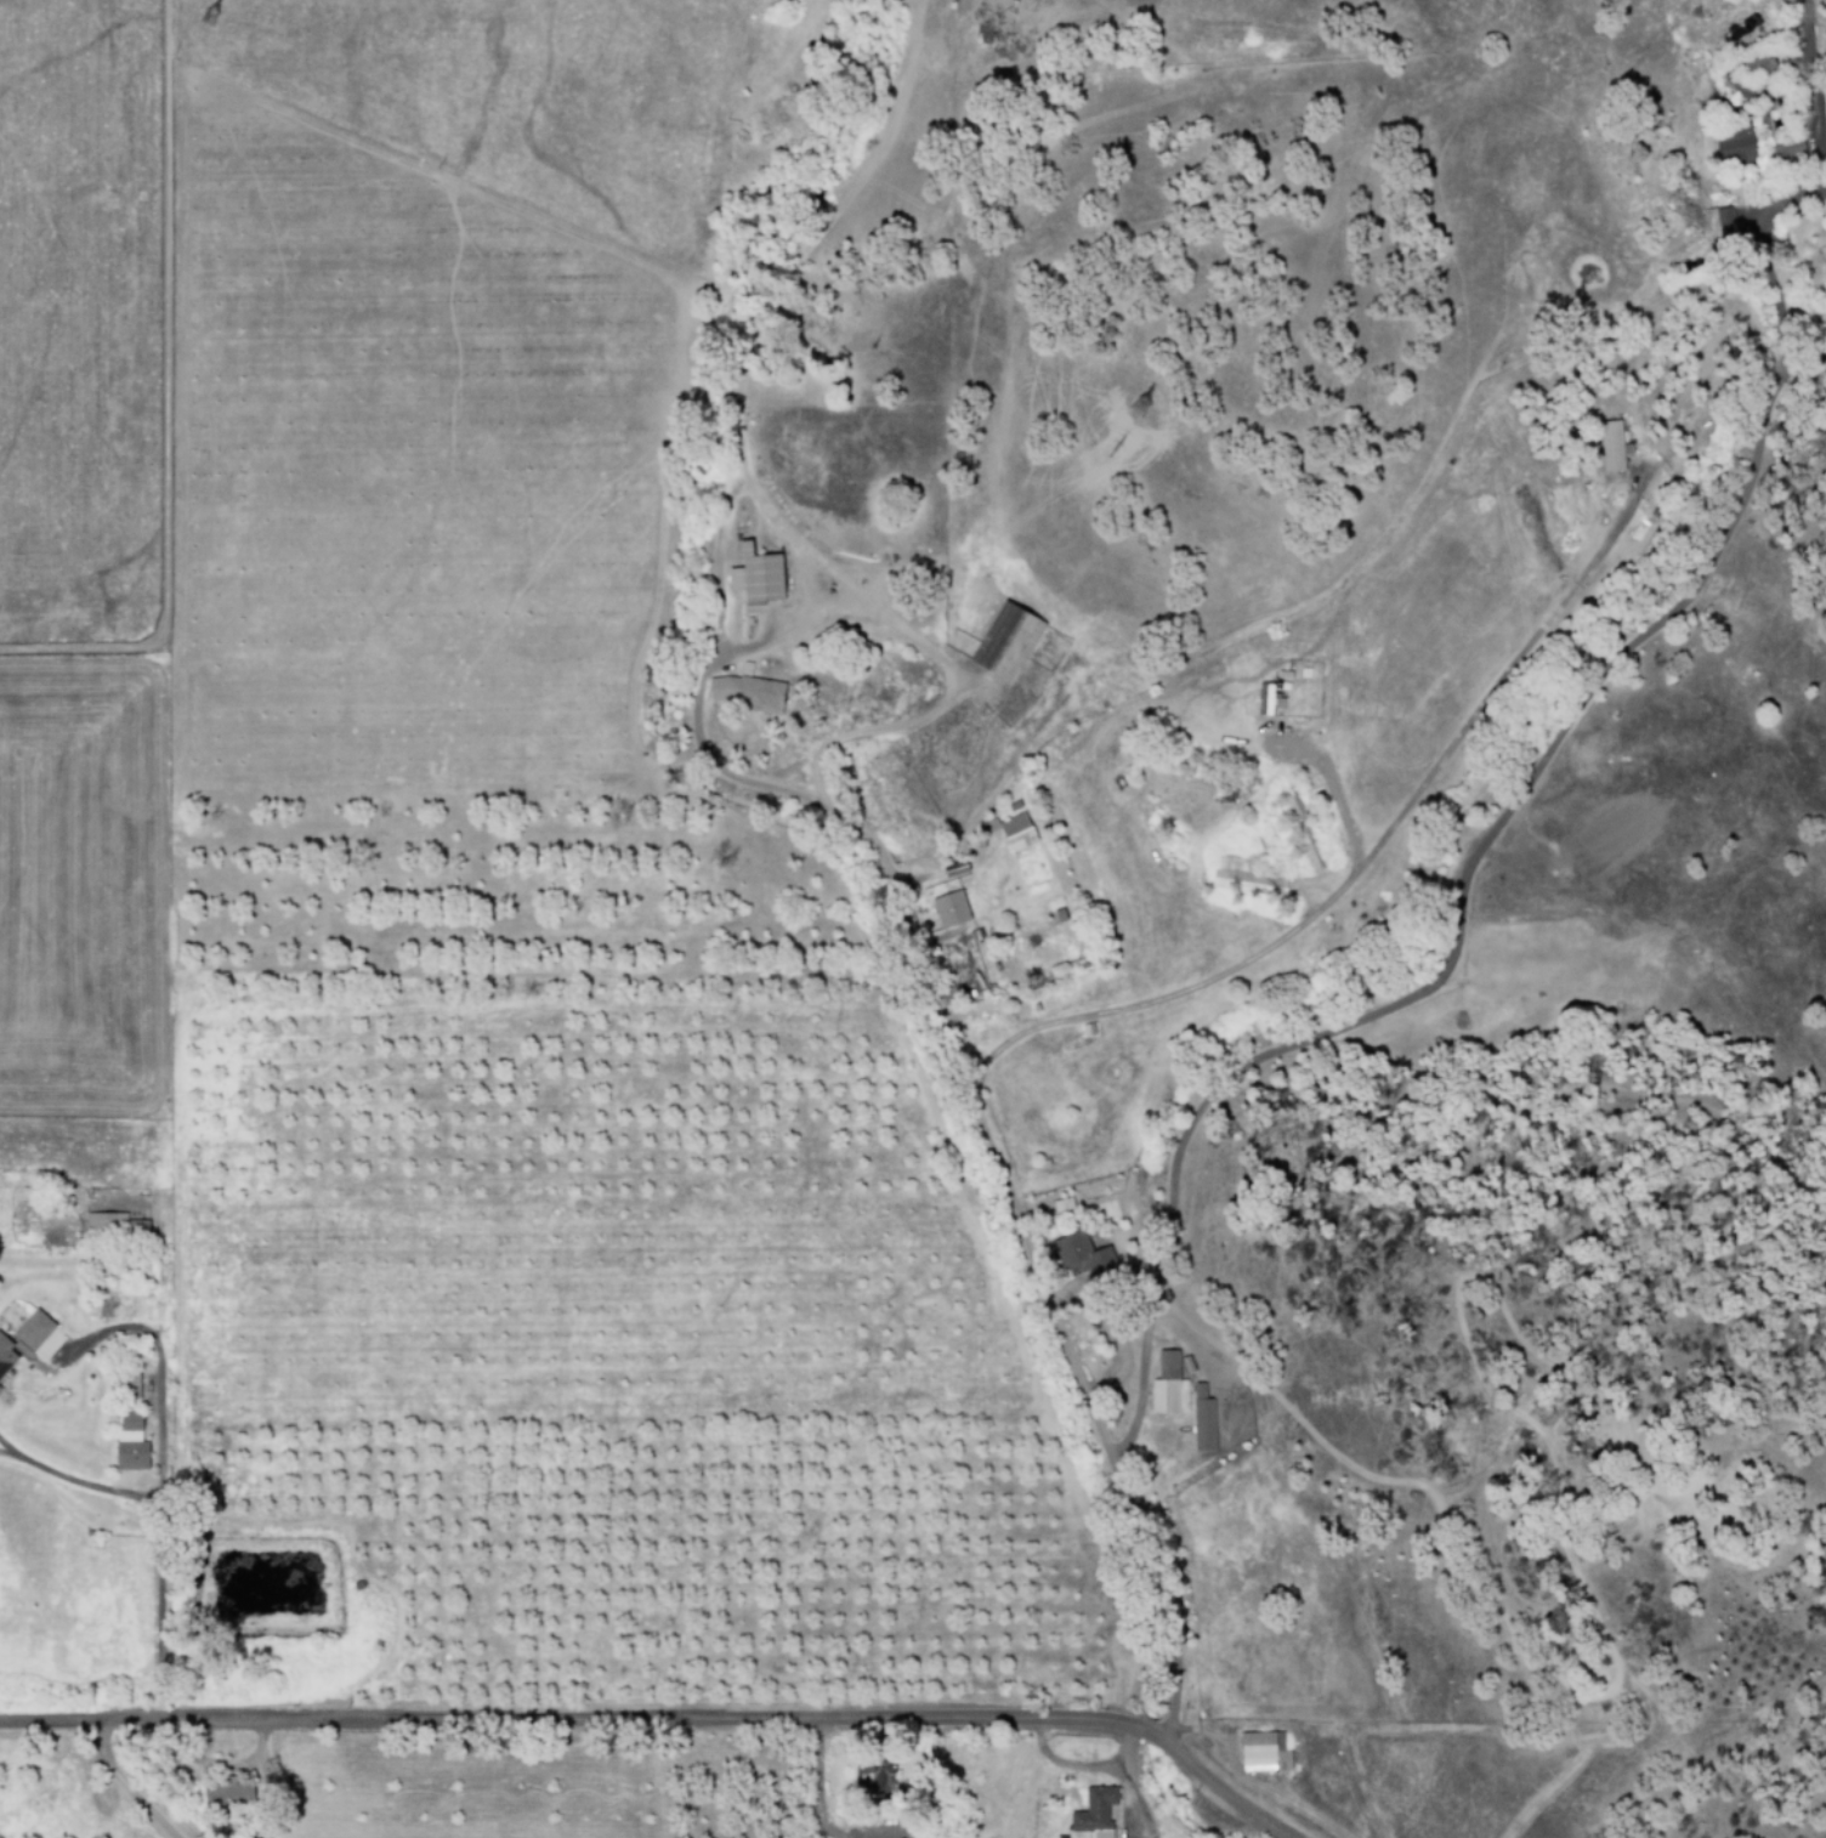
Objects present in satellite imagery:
power tower: (219, 46)
building: (1759, 63)
building: (1731, 144)
building: (1786, 153)
road: (1804, 189)
building: (1722, 220)
building: (1607, 446)
power tower: (1163, 450)
building: (753, 575)
building: (1003, 642)
building: (744, 693)
building: (1264, 699)
road: (1582, 699)
building: (986, 827)
building: (1302, 830)
building: (1014, 832)
road: (1351, 873)
building: (1242, 875)
building: (947, 909)
road: (1212, 1082)
road: (994, 1119)
building: (102, 1223)
building: (1079, 1255)
building: (29, 1331)
building: (5, 1360)
building: (126, 1385)
building: (1166, 1386)
building: (1201, 1419)
building: (126, 1441)
road: (2, 1447)
road: (2, 1450)
road: (153, 1479)
road: (78, 1480)
road: (663, 1721)
building: (1261, 1753)
building: (869, 1771)
road: (822, 1781)
road: (125, 1786)
building: (225, 1797)
building: (1091, 1810)

